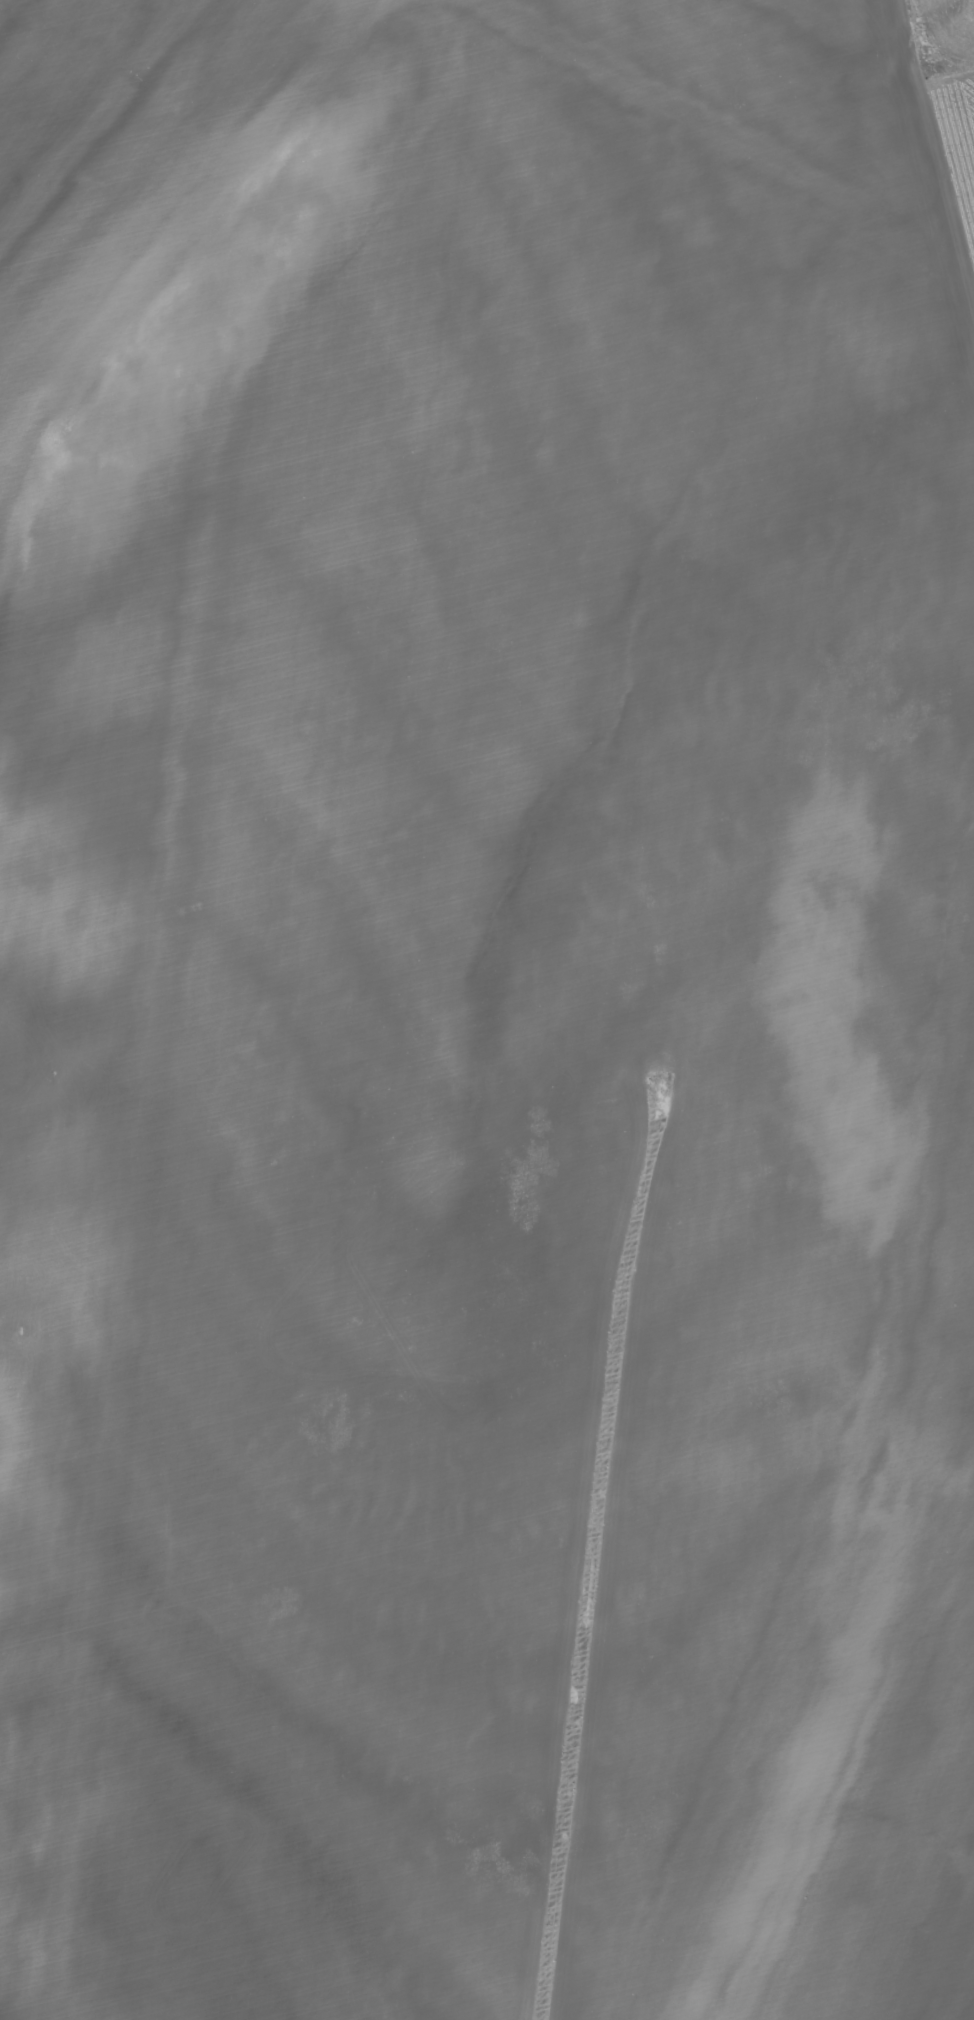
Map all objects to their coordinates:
road: (943, 89)

